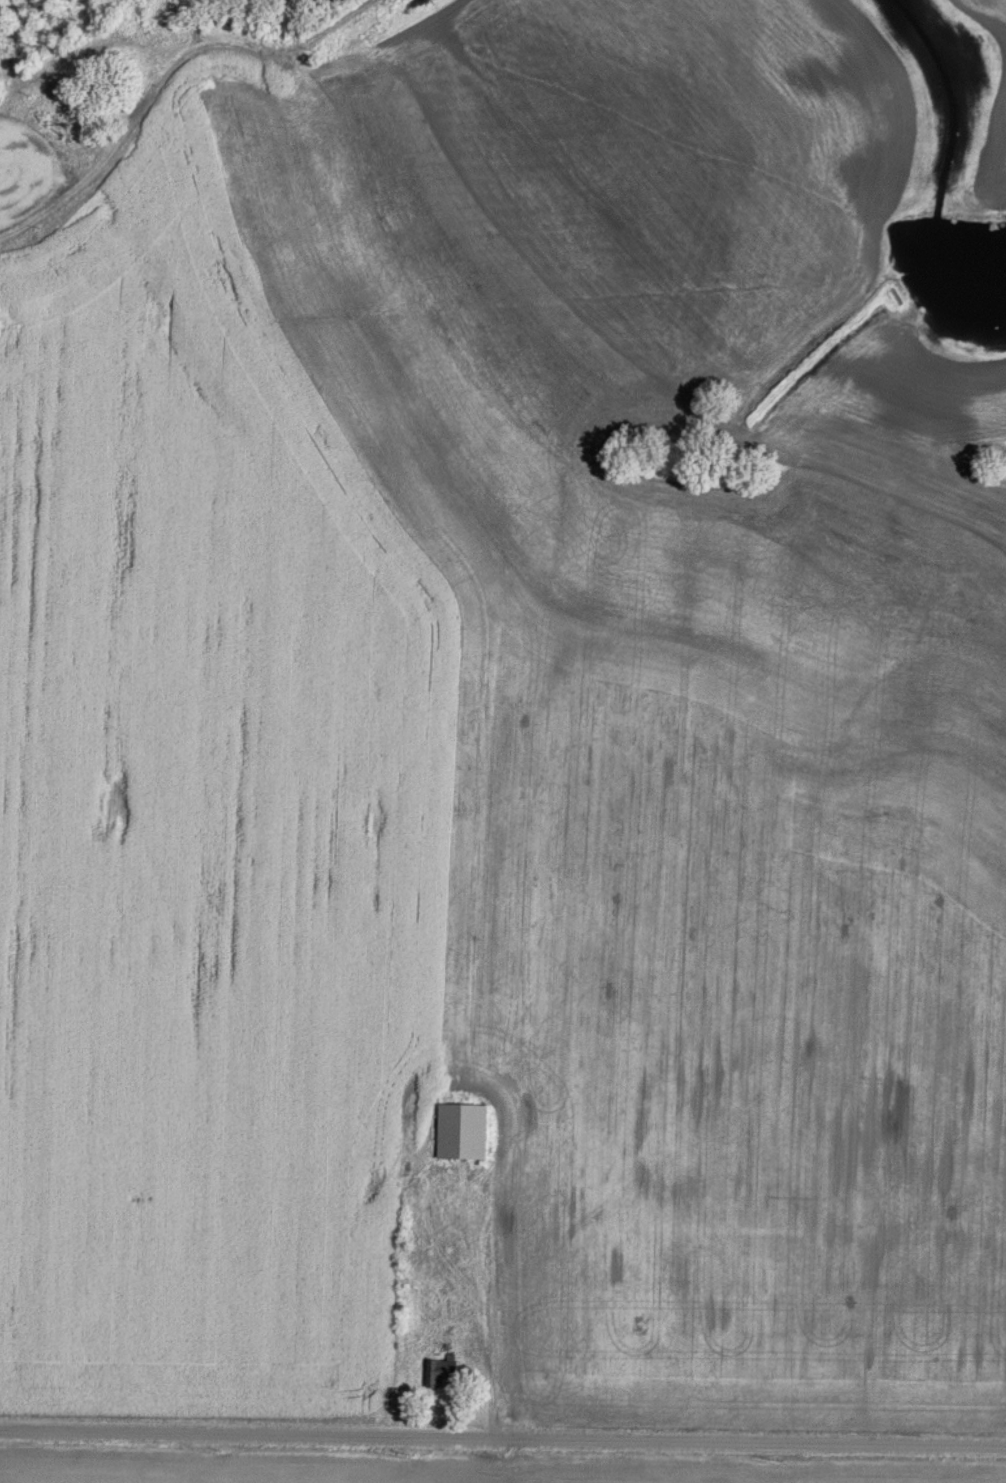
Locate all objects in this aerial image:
road: (136, 174)
building: (464, 1131)
building: (442, 1372)
road: (502, 1437)

